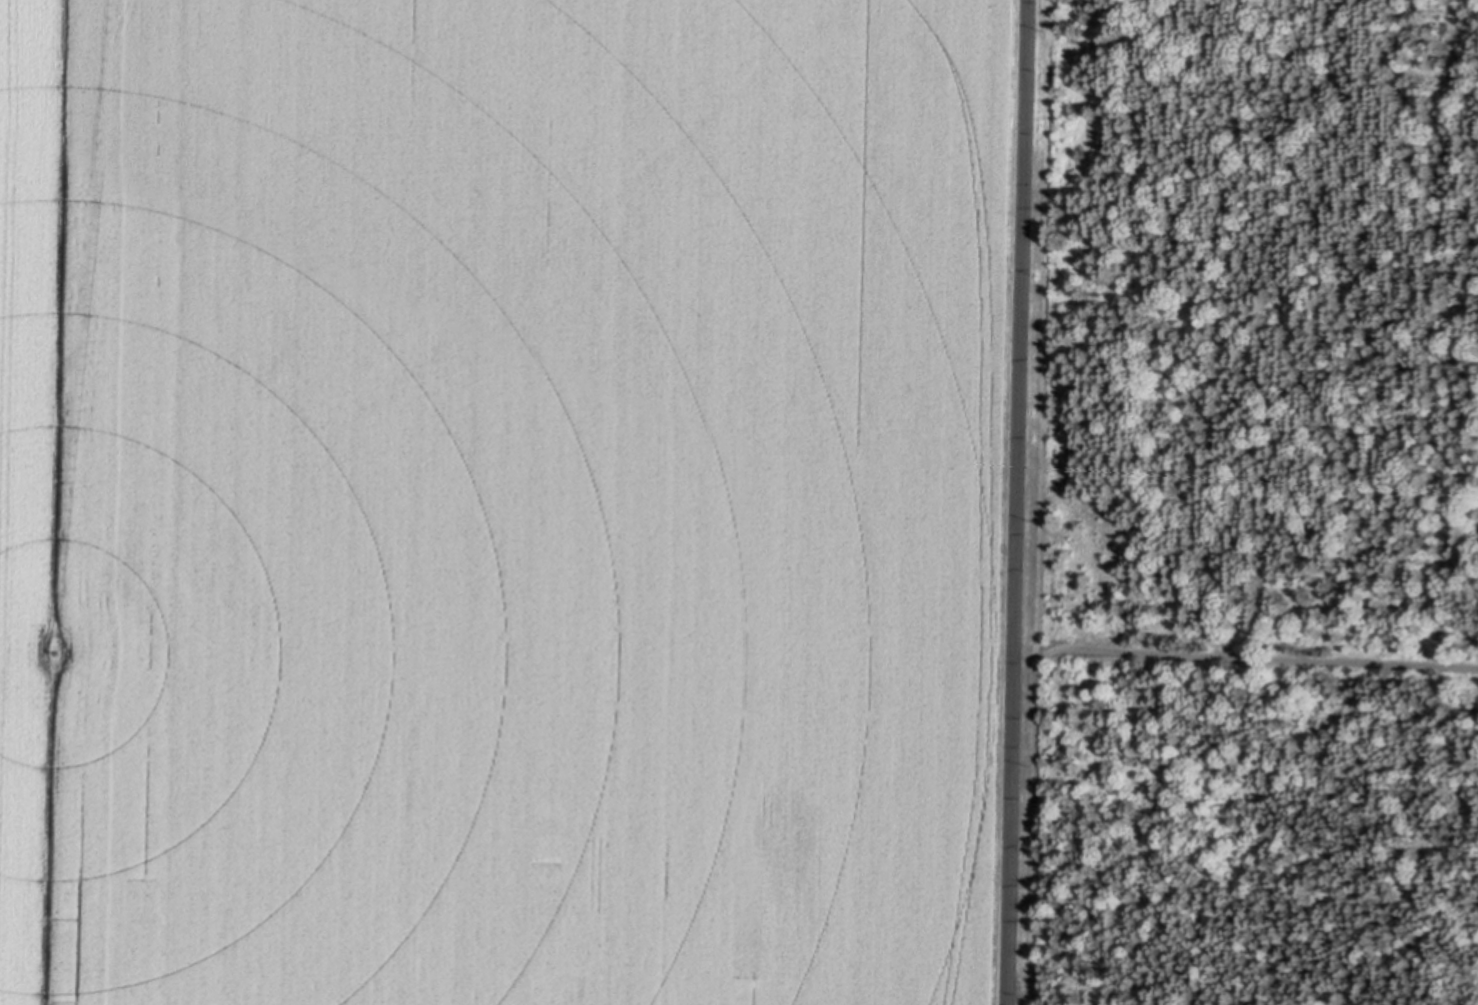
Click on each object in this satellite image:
crop: (503, 500)
road: (1015, 502)
road: (1082, 648)

